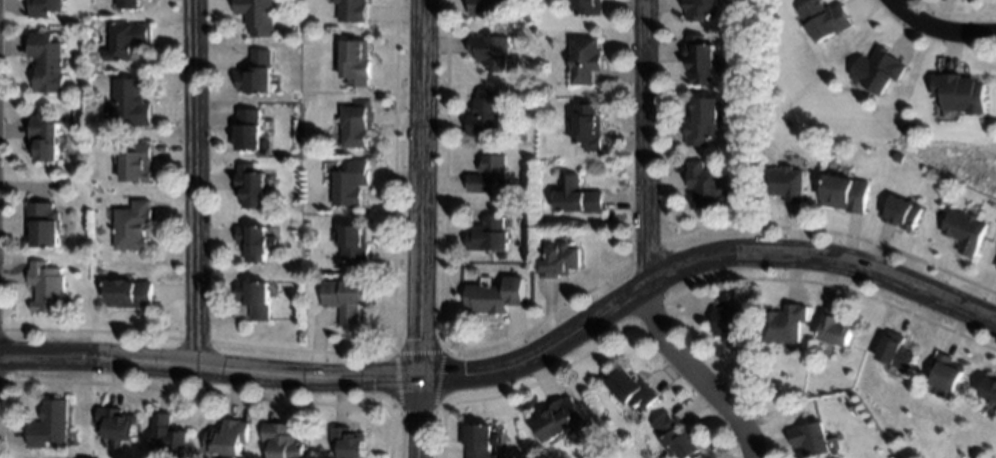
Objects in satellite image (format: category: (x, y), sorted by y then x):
building: (128, 4)
building: (485, 6)
building: (588, 6)
building: (43, 7)
building: (700, 8)
building: (352, 10)
building: (257, 15)
building: (824, 20)
road: (934, 30)
building: (128, 41)
building: (489, 48)
building: (584, 57)
building: (700, 59)
building: (356, 60)
building: (47, 62)
building: (878, 71)
building: (256, 74)
building: (960, 91)
building: (131, 100)
building: (484, 112)
building: (703, 120)
building: (355, 123)
building: (588, 124)
building: (248, 130)
building: (43, 135)
building: (135, 164)
building: (489, 174)
building: (349, 182)
building: (784, 183)
road: (195, 185)
building: (708, 185)
building: (250, 187)
building: (845, 191)
building: (577, 194)
building: (902, 211)
building: (44, 222)
building: (132, 226)
road: (418, 228)
building: (964, 229)
building: (487, 233)
building: (254, 240)
building: (352, 241)
road: (647, 248)
building: (559, 261)
building: (995, 266)
building: (46, 285)
building: (129, 294)
building: (495, 296)
building: (254, 300)
building: (344, 300)
building: (783, 322)
building: (732, 325)
building: (835, 327)
building: (896, 351)
road: (518, 366)
building: (945, 371)
building: (990, 388)
building: (633, 390)
building: (560, 420)
building: (50, 423)
building: (117, 424)
building: (167, 437)
building: (227, 437)
building: (676, 437)
building: (811, 438)
building: (480, 440)
building: (281, 442)
building: (347, 444)

